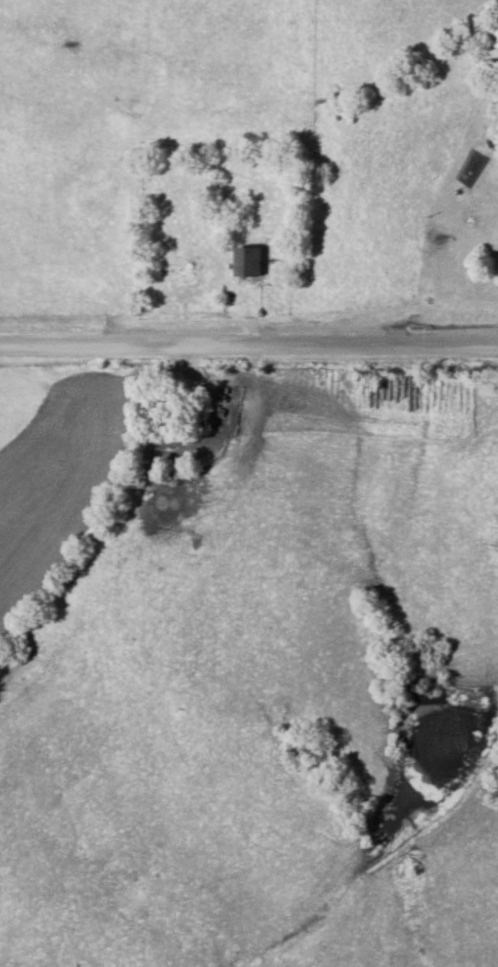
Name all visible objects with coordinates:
building: (243, 263)
road: (249, 344)

